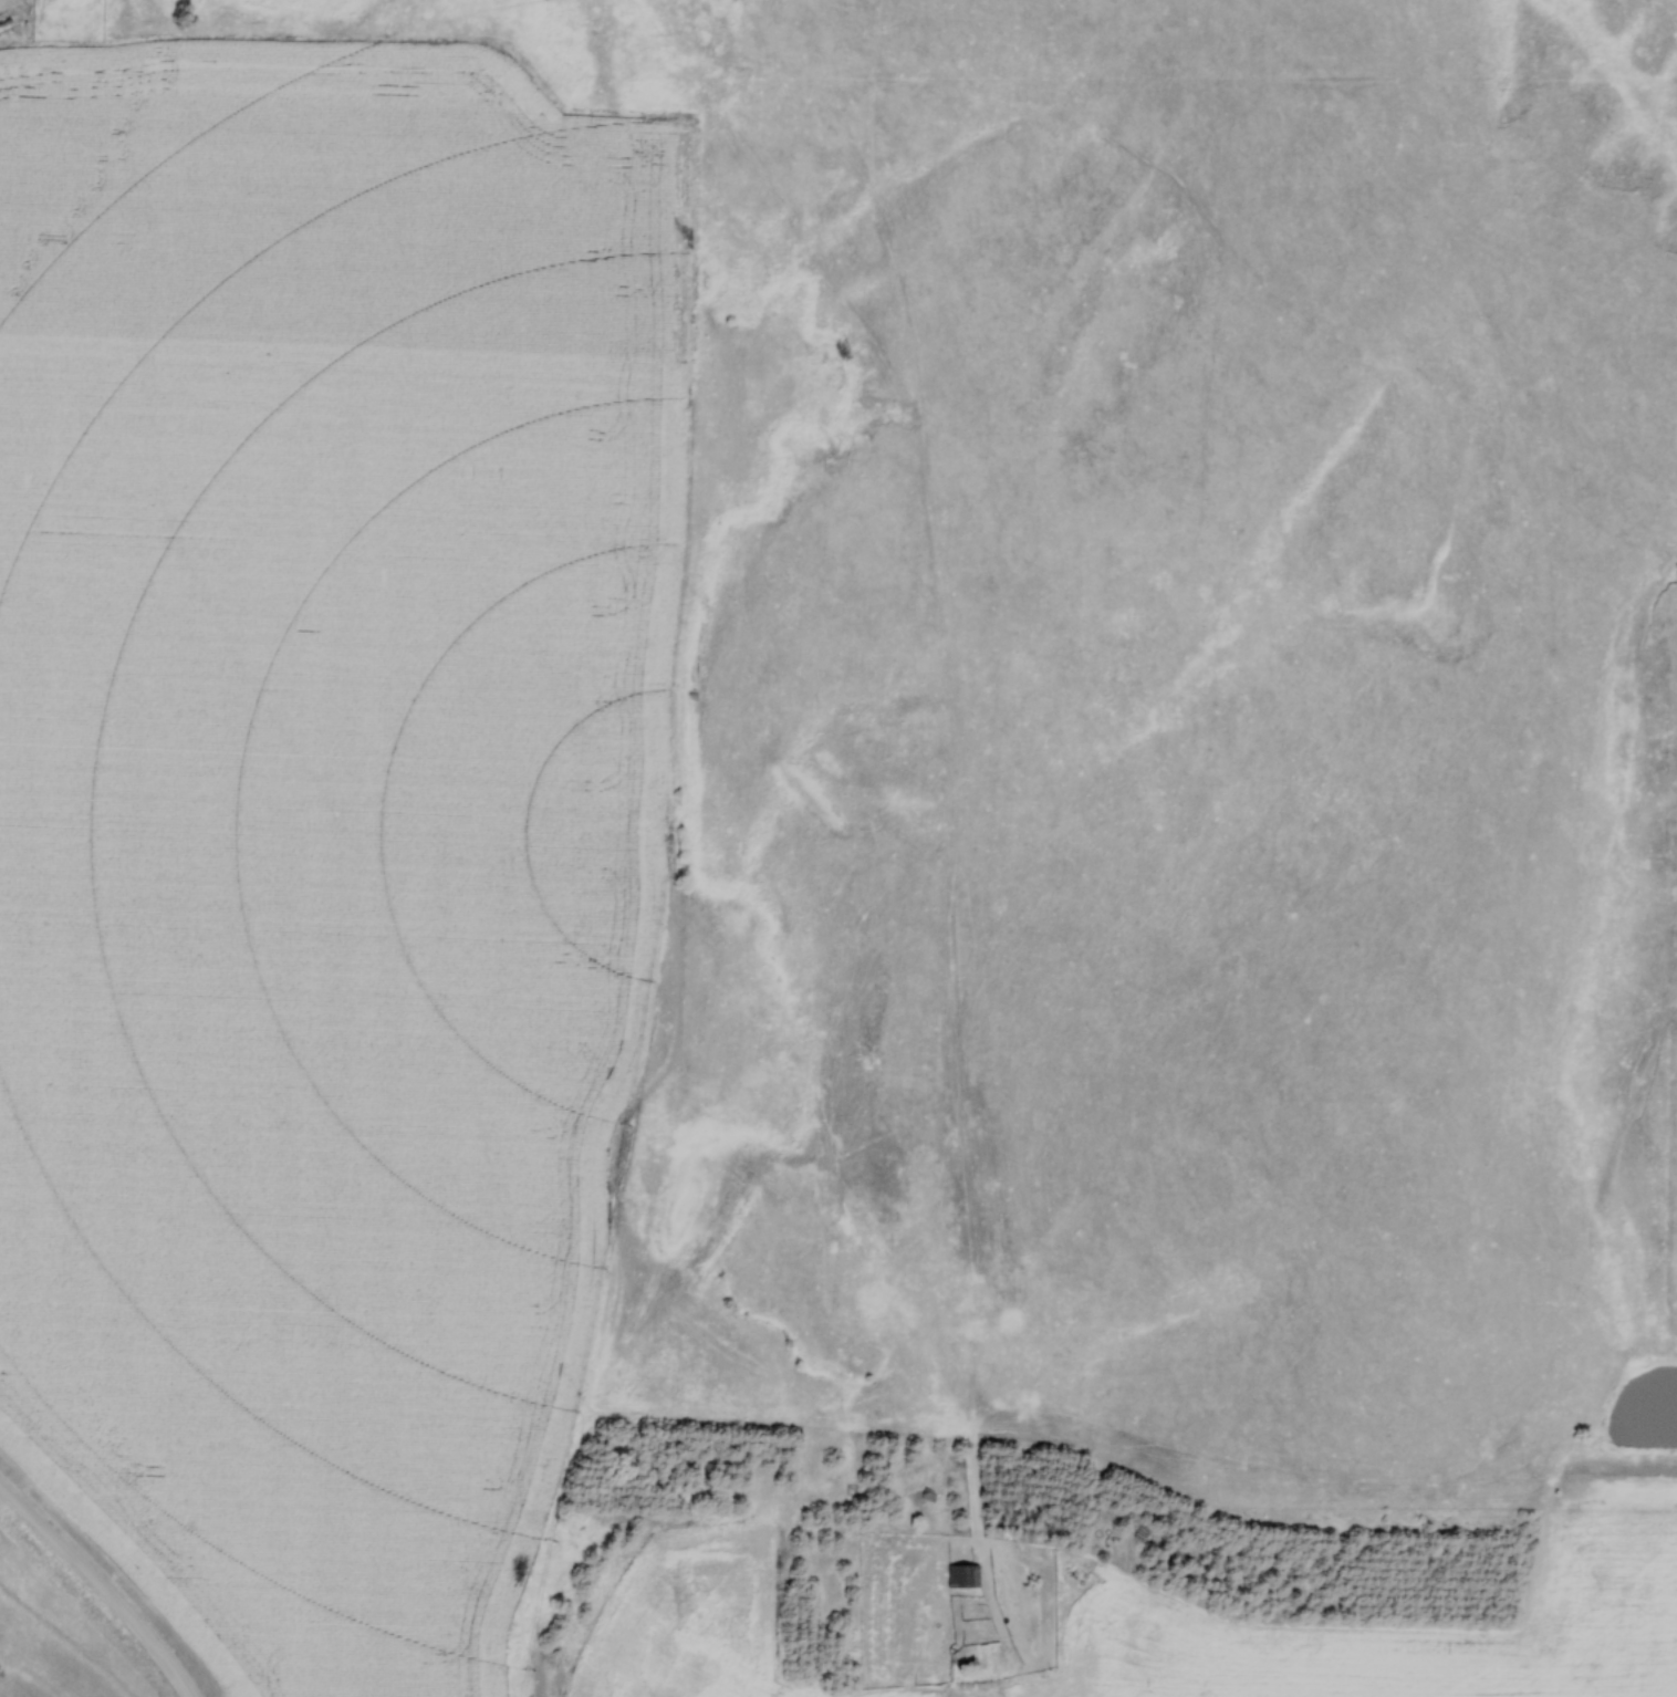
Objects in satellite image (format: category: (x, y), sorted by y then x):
building: (962, 1576)
road: (101, 1585)
road: (1007, 1625)

